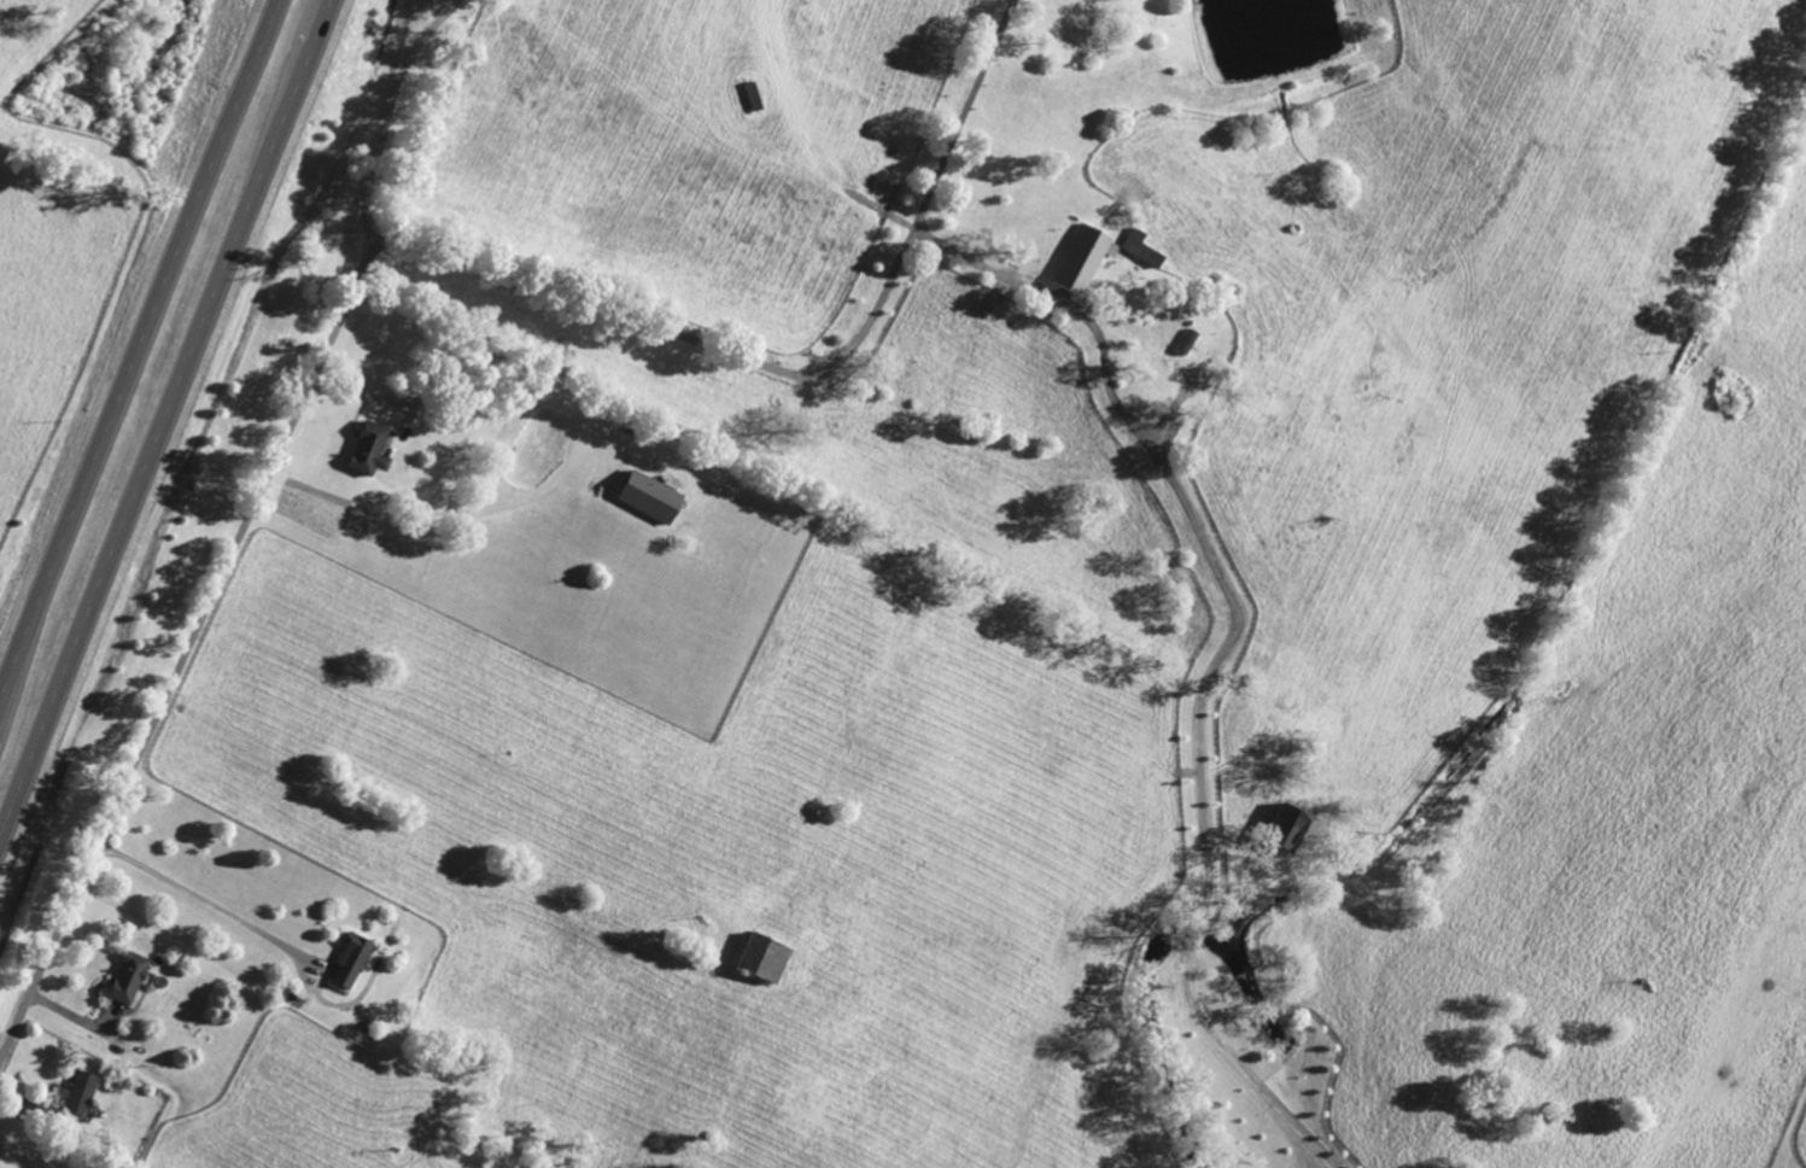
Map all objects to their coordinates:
road: (391, 115)
building: (1149, 250)
building: (1087, 258)
road: (135, 346)
road: (793, 374)
road: (162, 414)
building: (378, 450)
building: (657, 498)
road: (182, 652)
road: (1223, 656)
building: (1299, 827)
road: (198, 901)
building: (770, 957)
building: (357, 962)
building: (134, 979)
building: (88, 1096)

